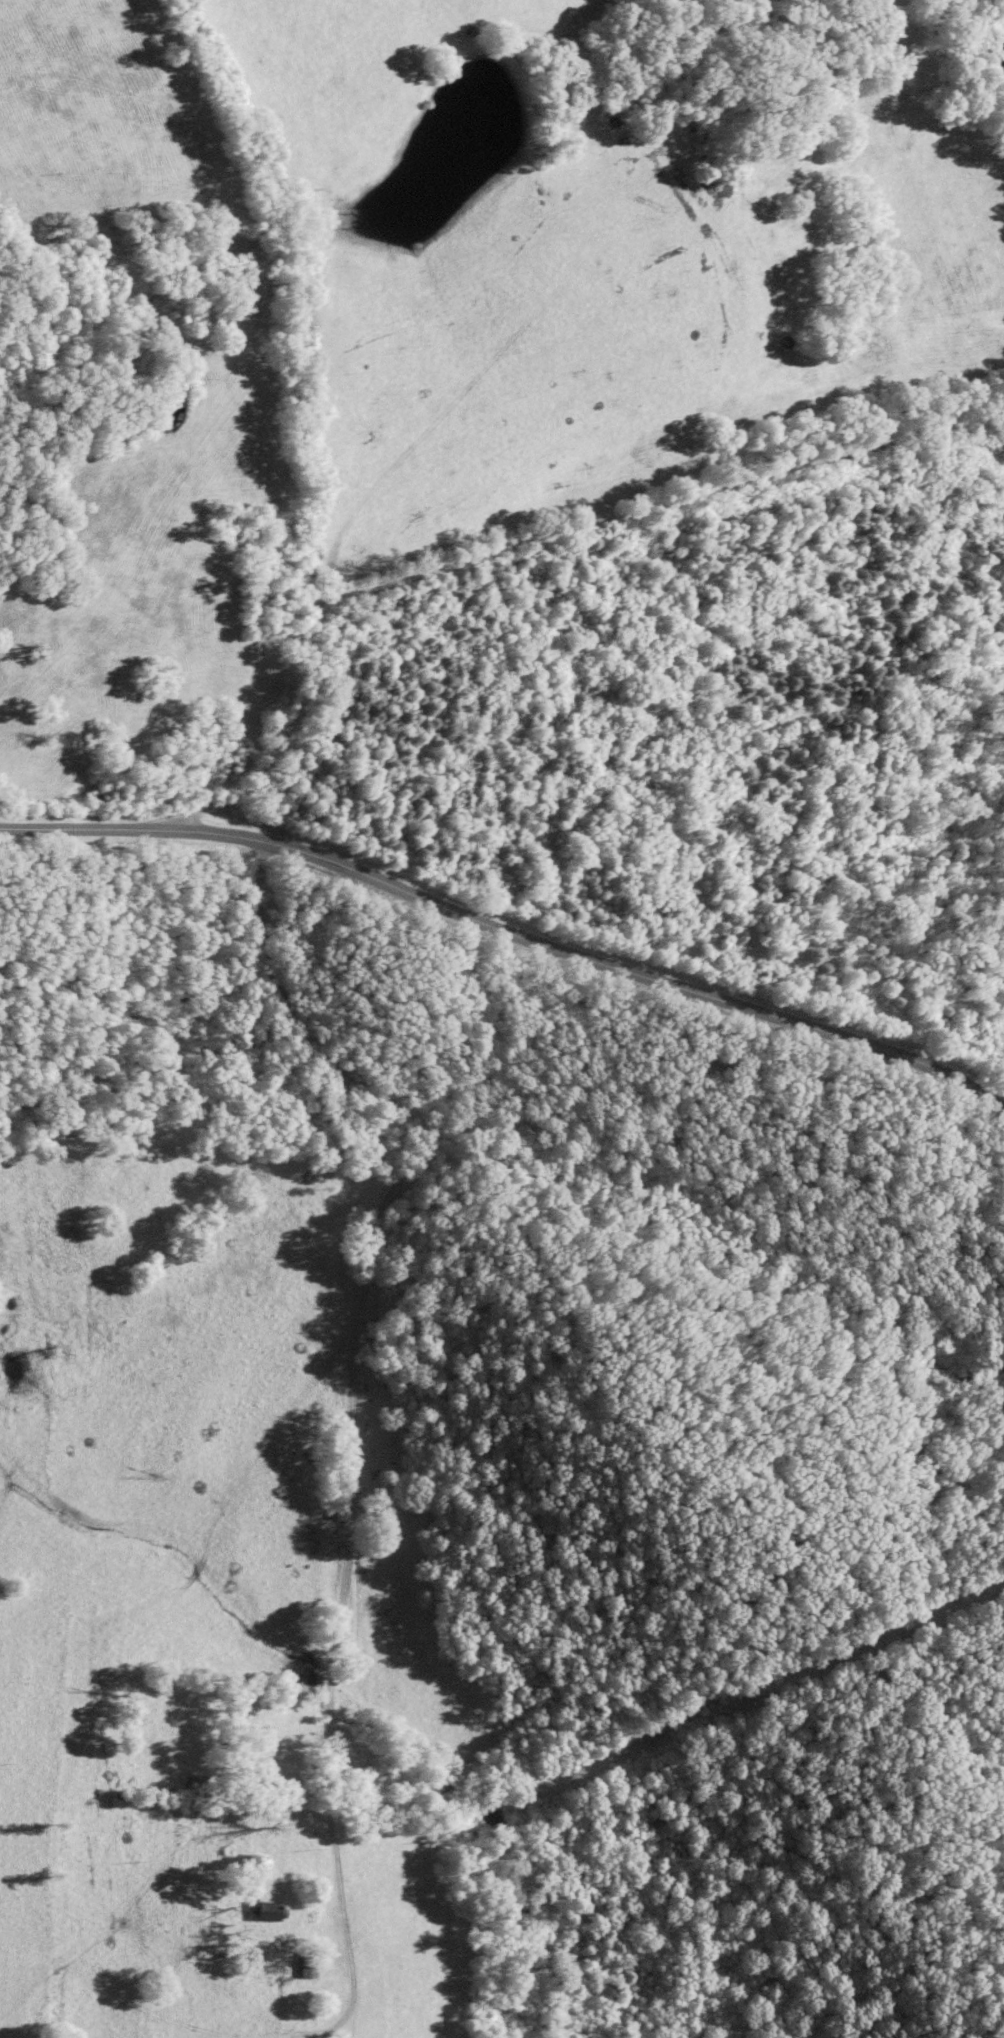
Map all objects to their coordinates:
road: (306, 432)
road: (659, 510)
road: (507, 929)
road: (359, 1418)
building: (266, 1909)

